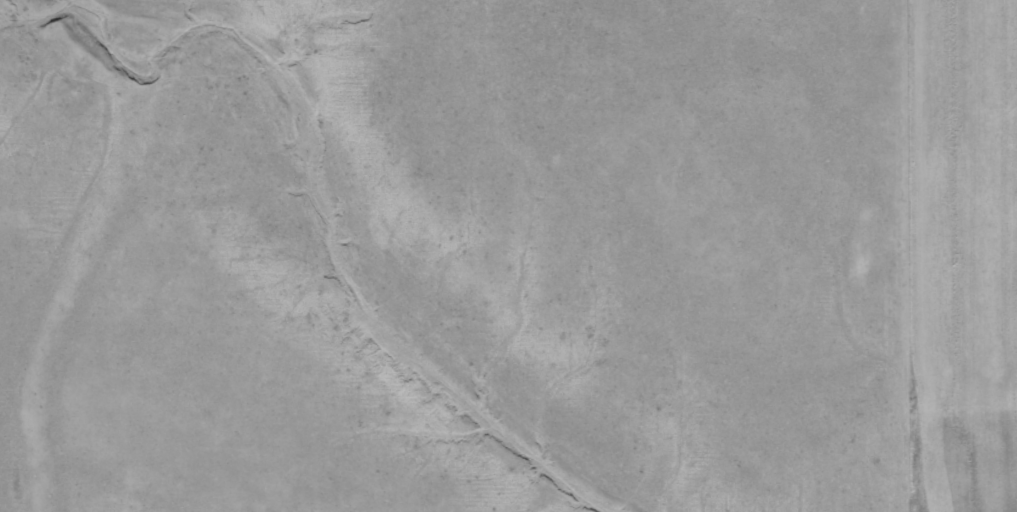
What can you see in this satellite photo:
road: (827, 218)
road: (974, 429)
road: (895, 461)

